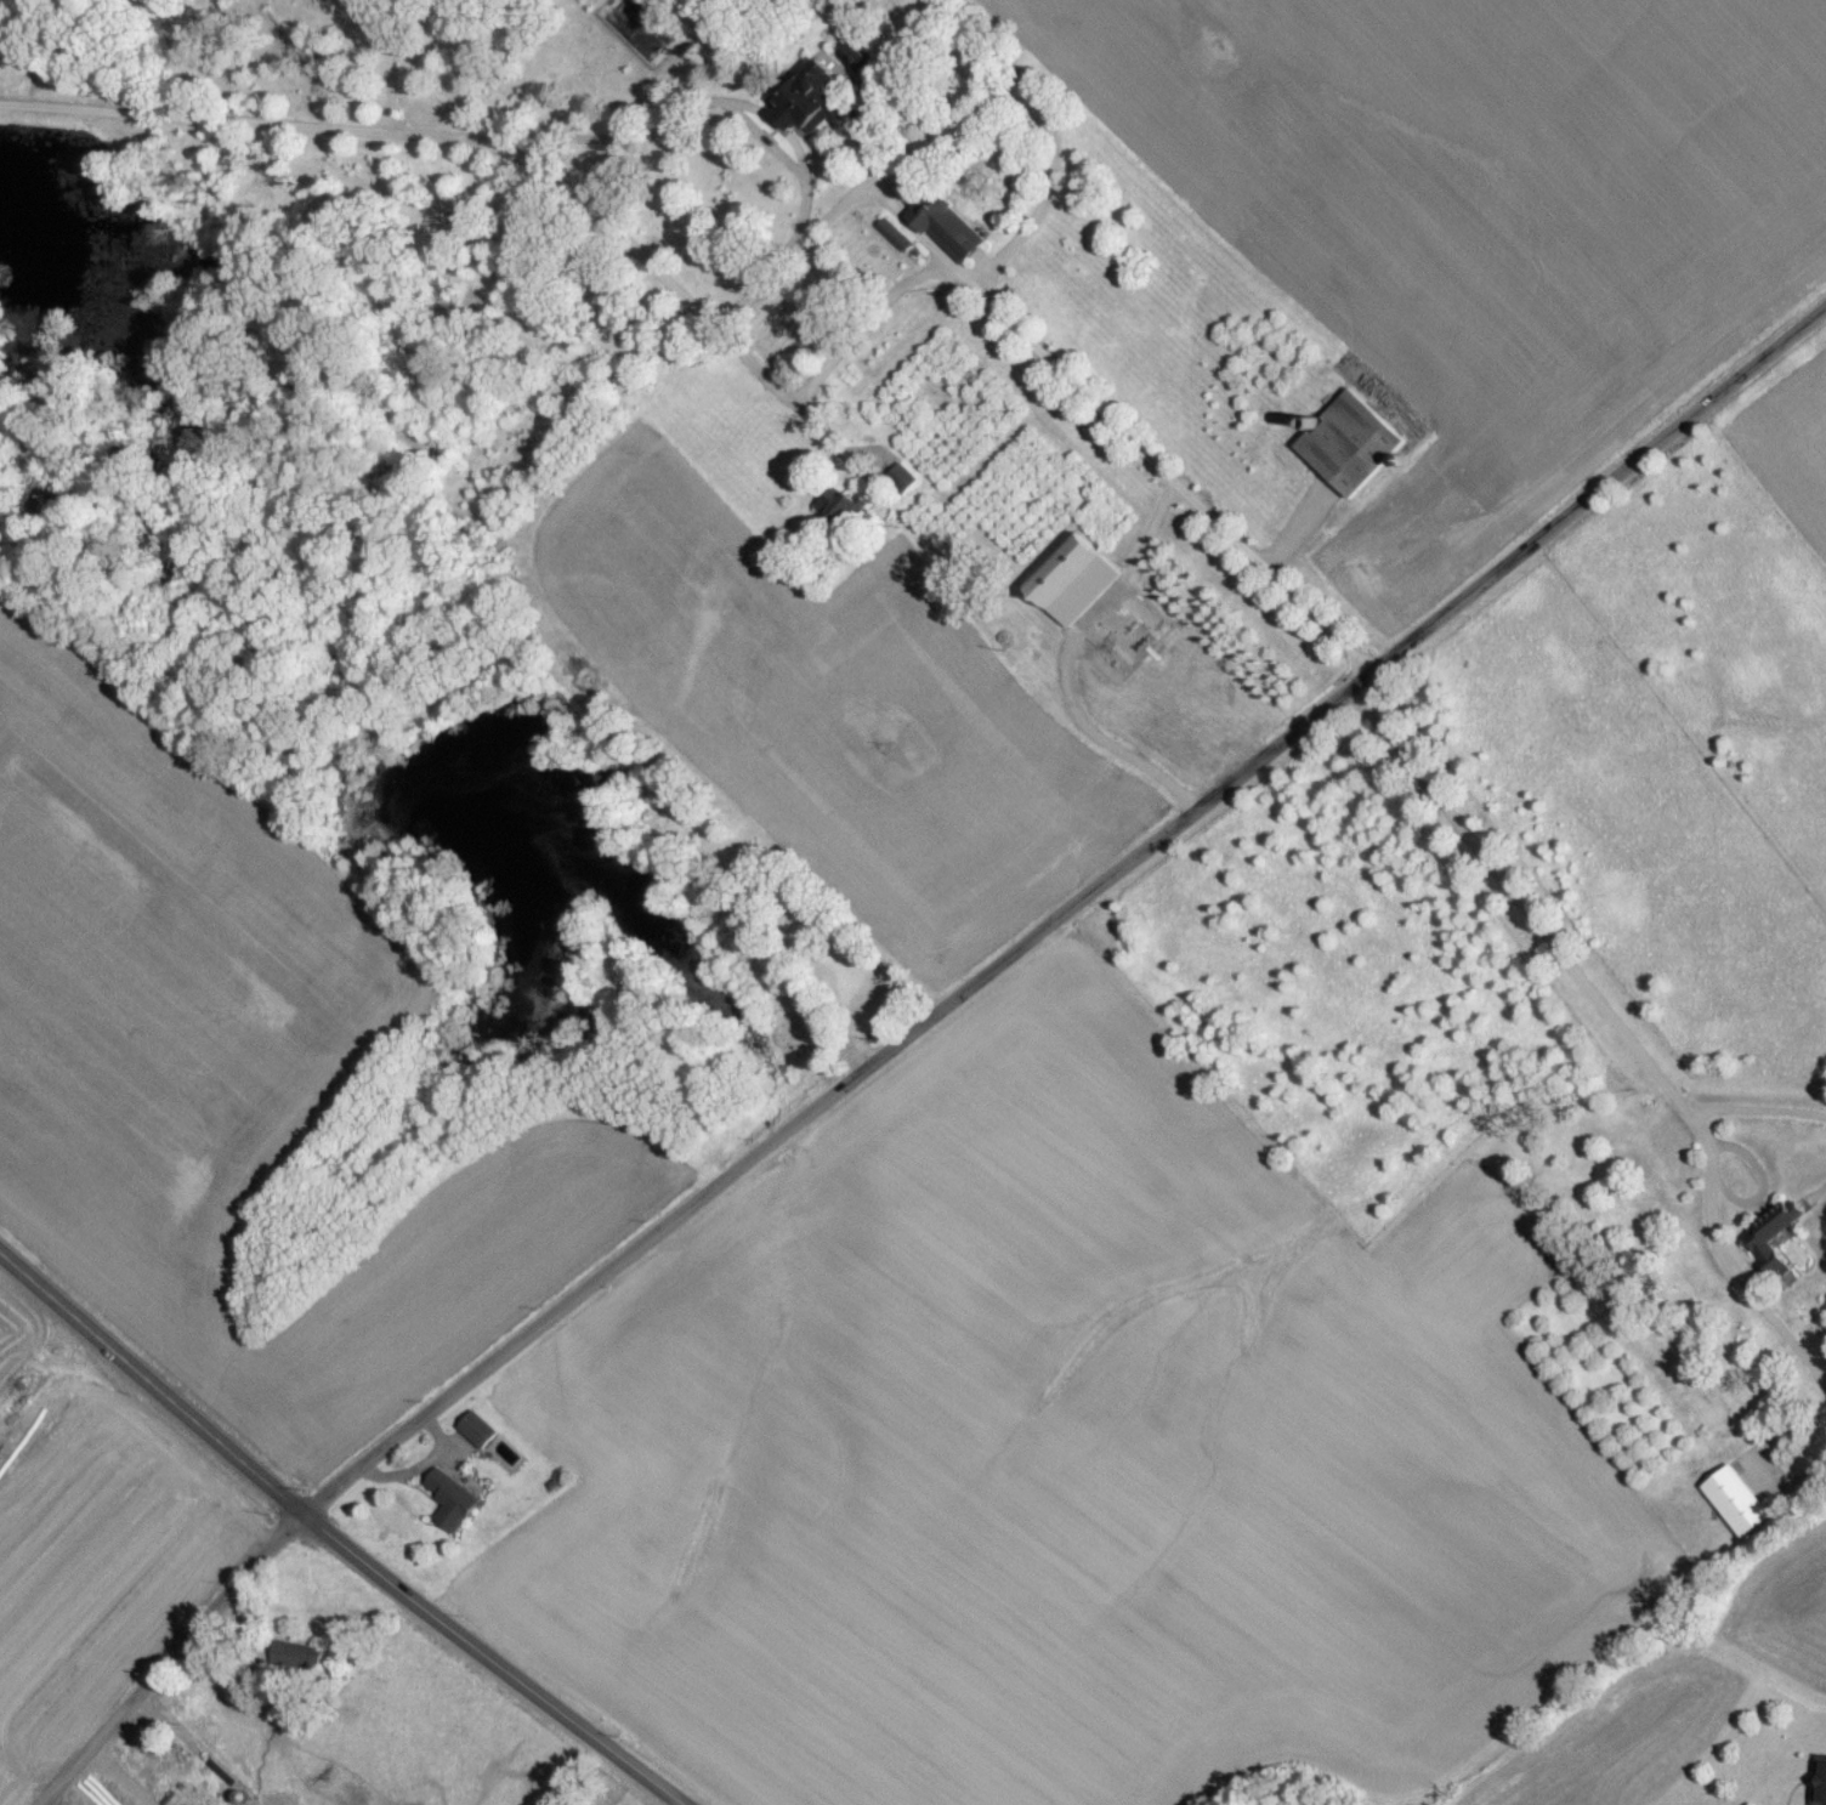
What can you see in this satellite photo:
building: (630, 23)
building: (852, 69)
road: (393, 70)
building: (809, 106)
road: (699, 108)
road: (1049, 132)
road: (883, 171)
building: (946, 235)
road: (867, 322)
road: (769, 382)
building: (1348, 452)
road: (1597, 499)
road: (1268, 560)
building: (1071, 588)
road: (1066, 658)
road: (1617, 1024)
road: (1215, 1085)
road: (1757, 1107)
road: (1762, 1179)
road: (1818, 1191)
building: (1768, 1245)
building: (476, 1436)
road: (1808, 1478)
building: (449, 1506)
building: (1735, 1508)
road: (327, 1545)
road: (164, 1662)
building: (295, 1663)
road: (113, 1777)
building: (1819, 1783)

